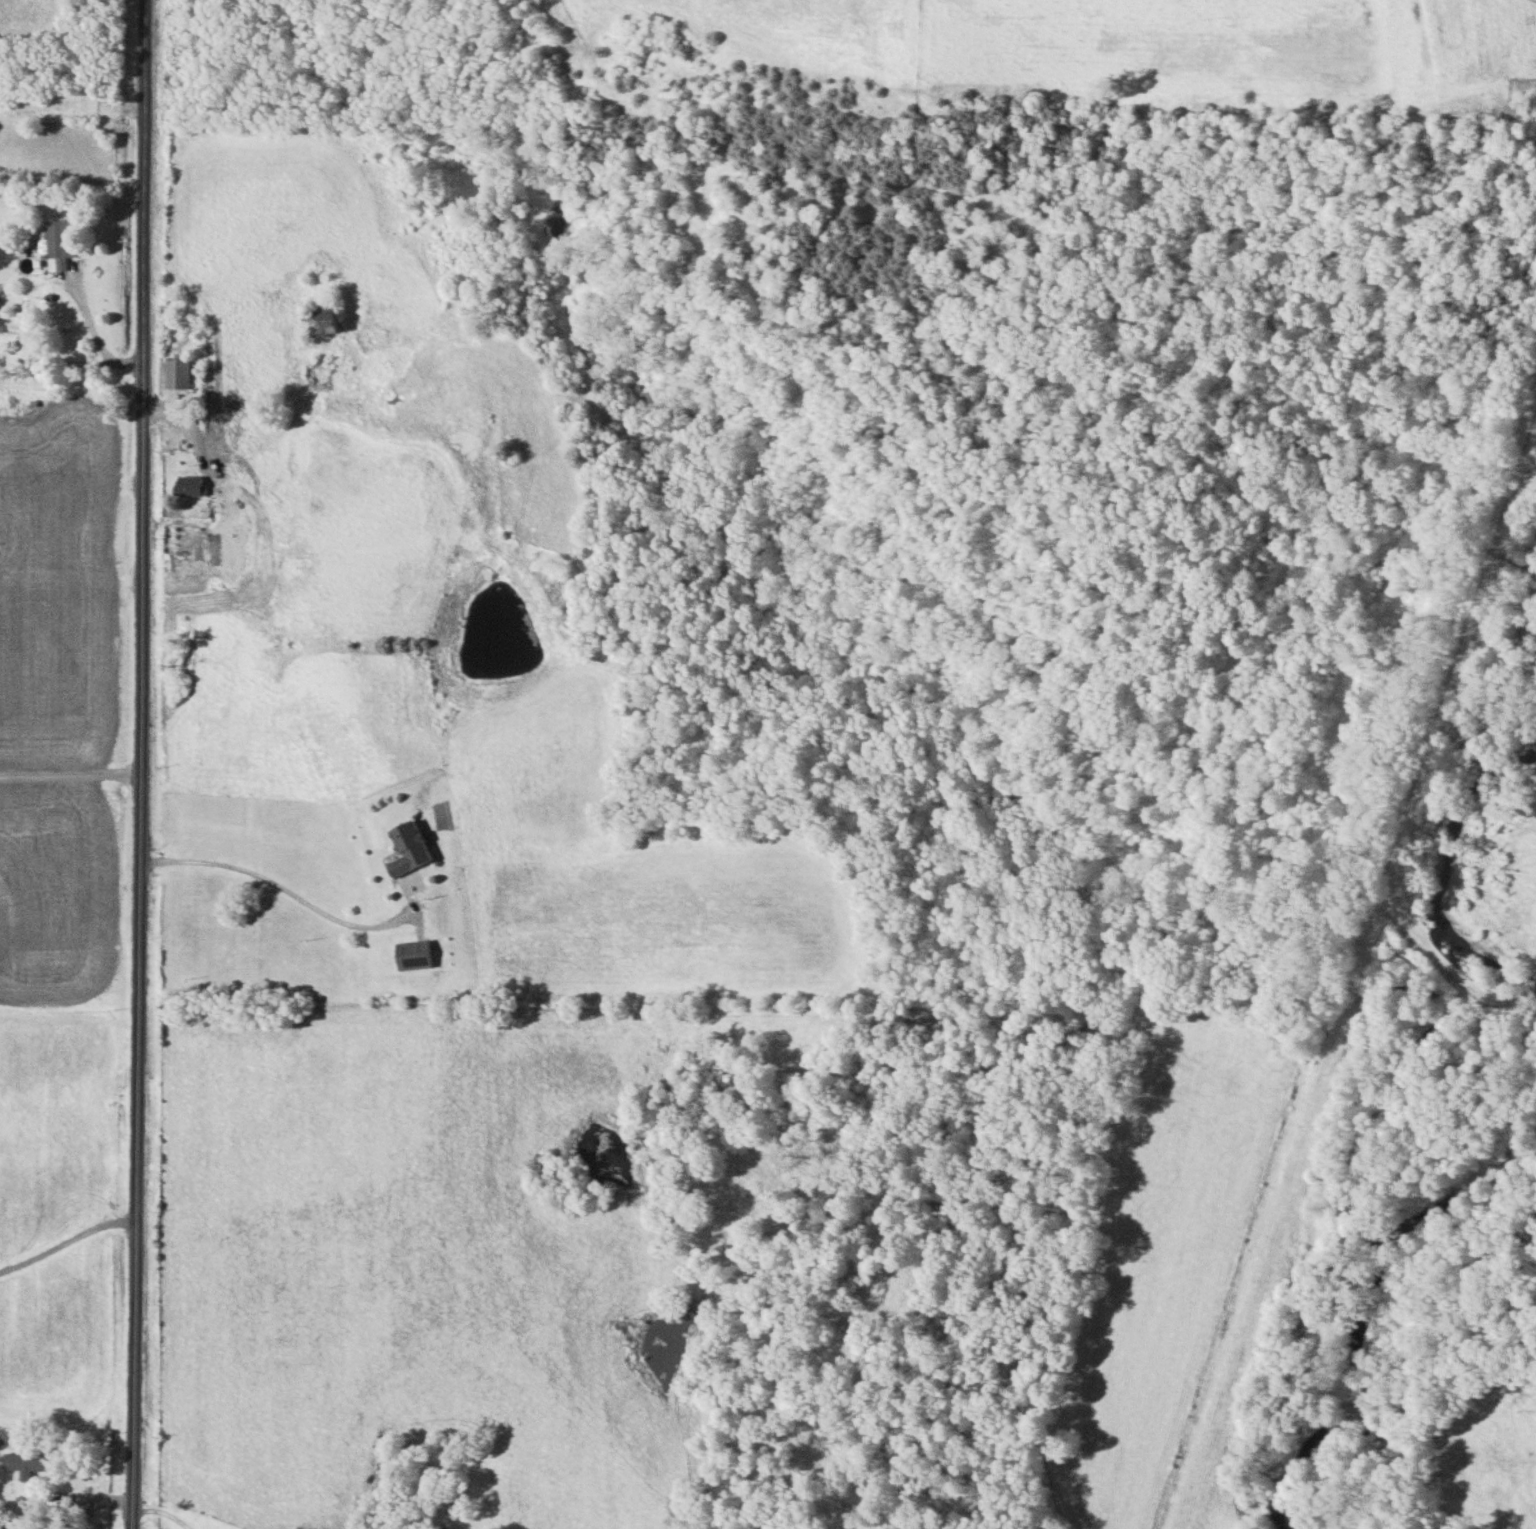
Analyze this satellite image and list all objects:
building: (58, 243)
road: (78, 277)
building: (323, 320)
building: (177, 373)
road: (84, 485)
building: (190, 486)
road: (72, 580)
road: (145, 764)
road: (80, 777)
building: (408, 849)
road: (76, 928)
building: (413, 956)
road: (68, 1241)
building: (26, 1464)
road: (77, 1499)
road: (165, 1512)

